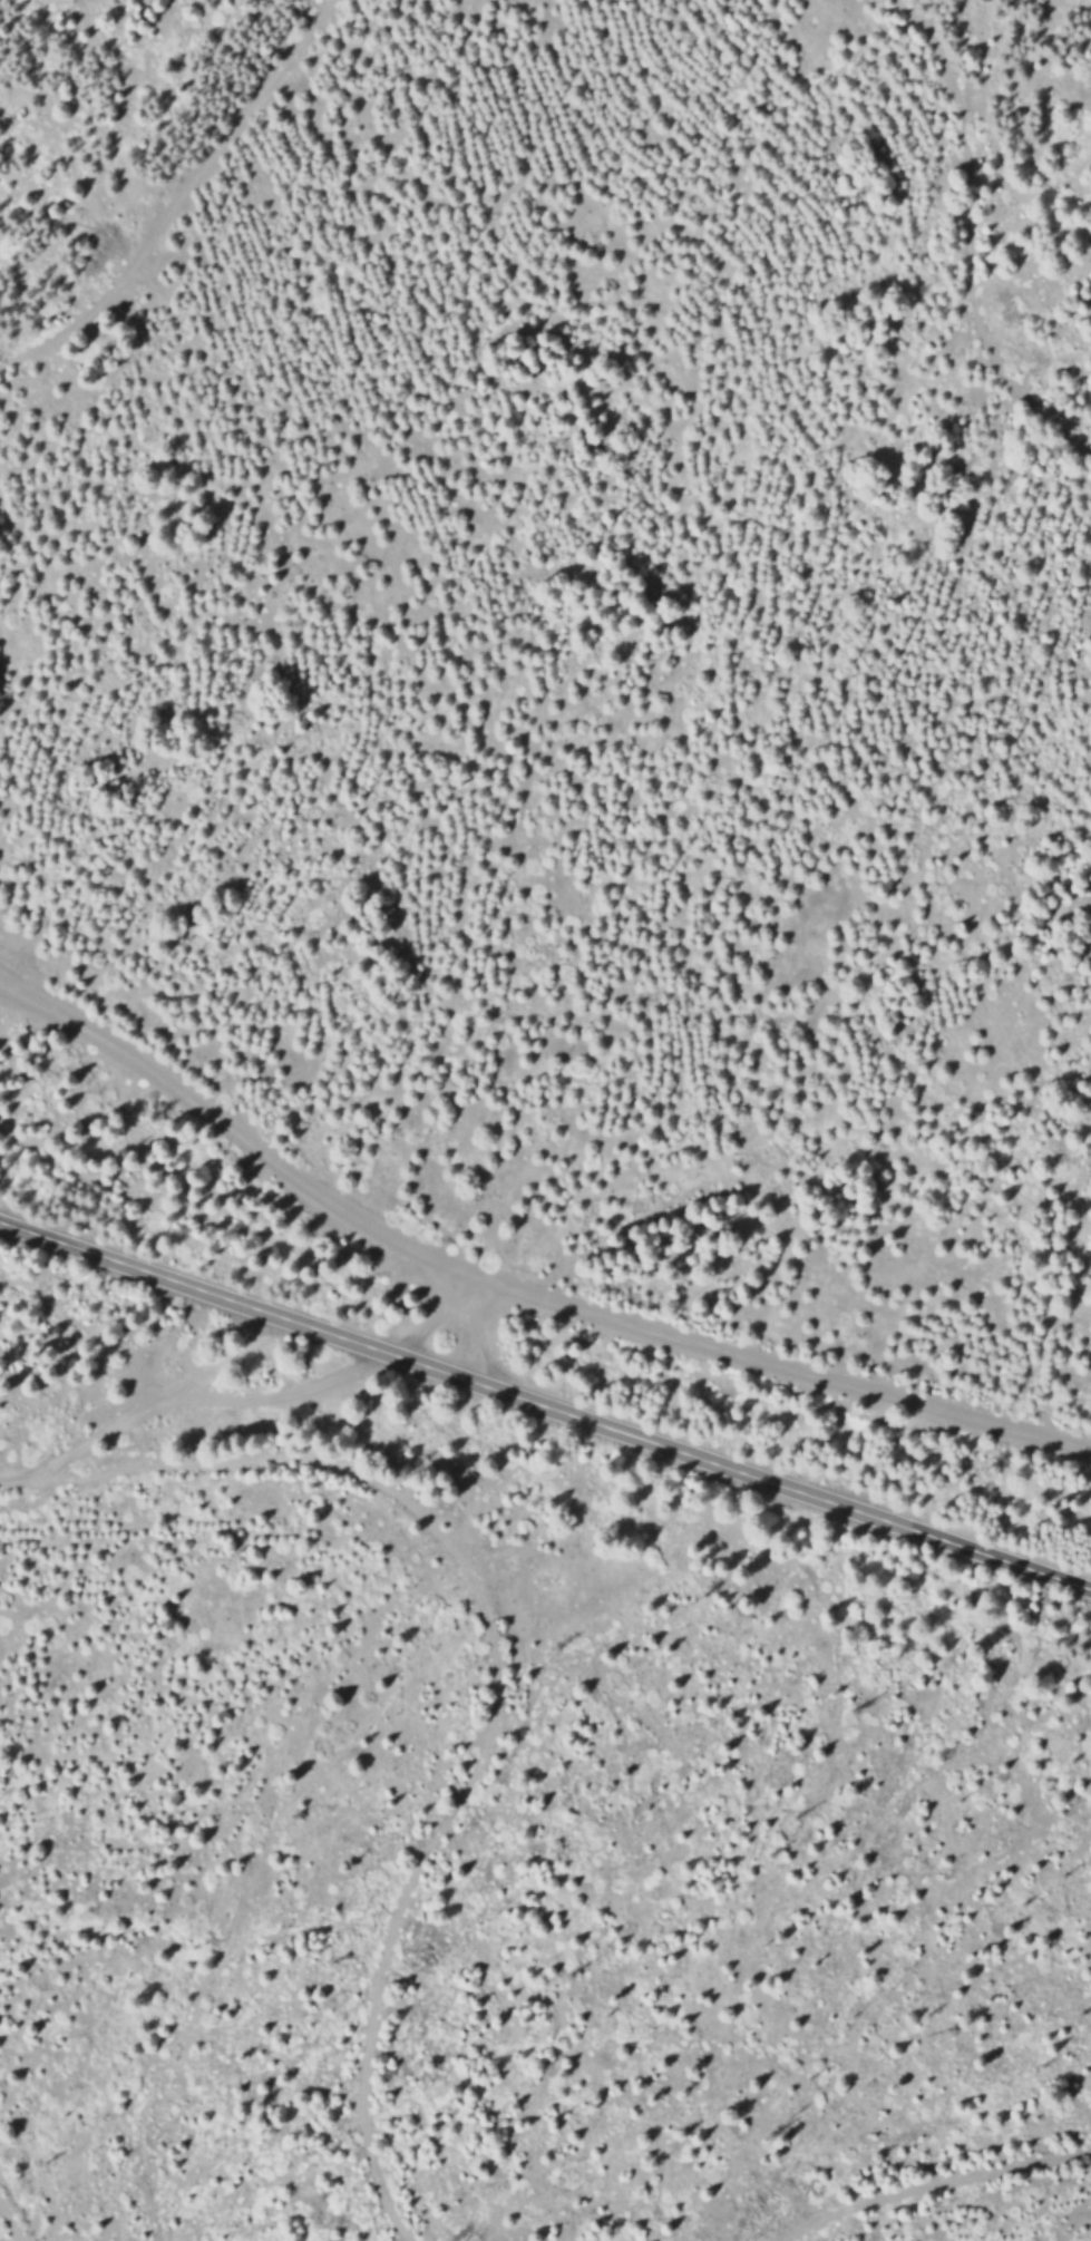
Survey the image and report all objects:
road: (176, 191)
road: (964, 242)
road: (271, 1157)
road: (769, 1361)
road: (545, 1402)
road: (496, 1668)
road: (932, 2185)
road: (9, 2224)

